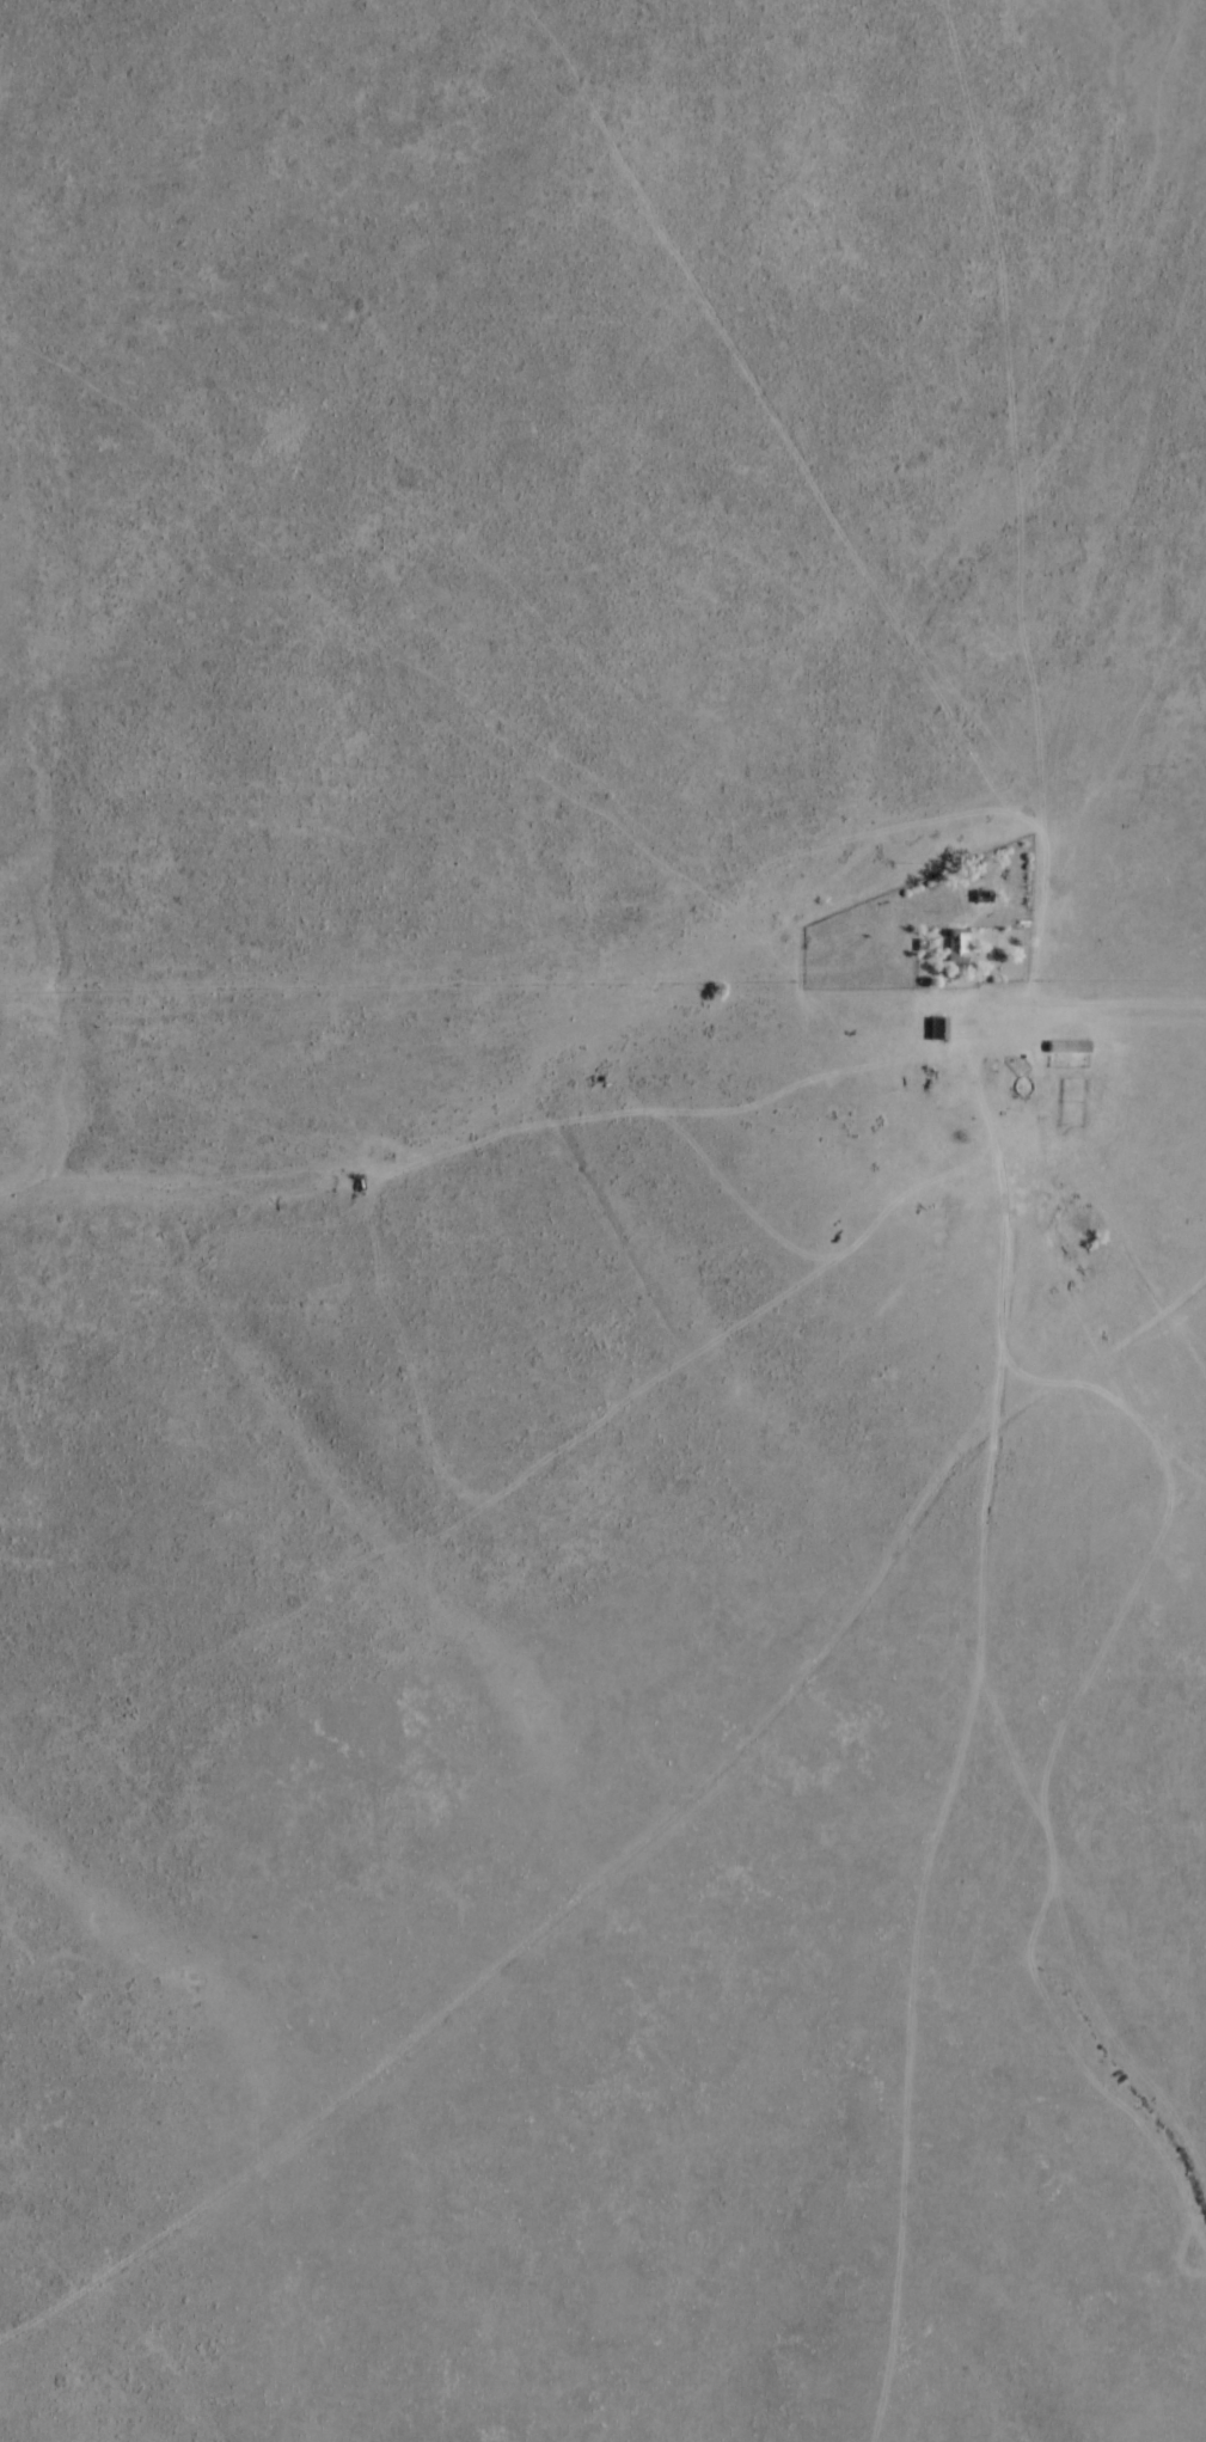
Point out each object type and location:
building: (984, 899)
building: (957, 950)
building: (938, 1032)
building: (1069, 1048)
road: (319, 1078)
road: (610, 1756)
road: (925, 1977)
road: (4, 2415)

